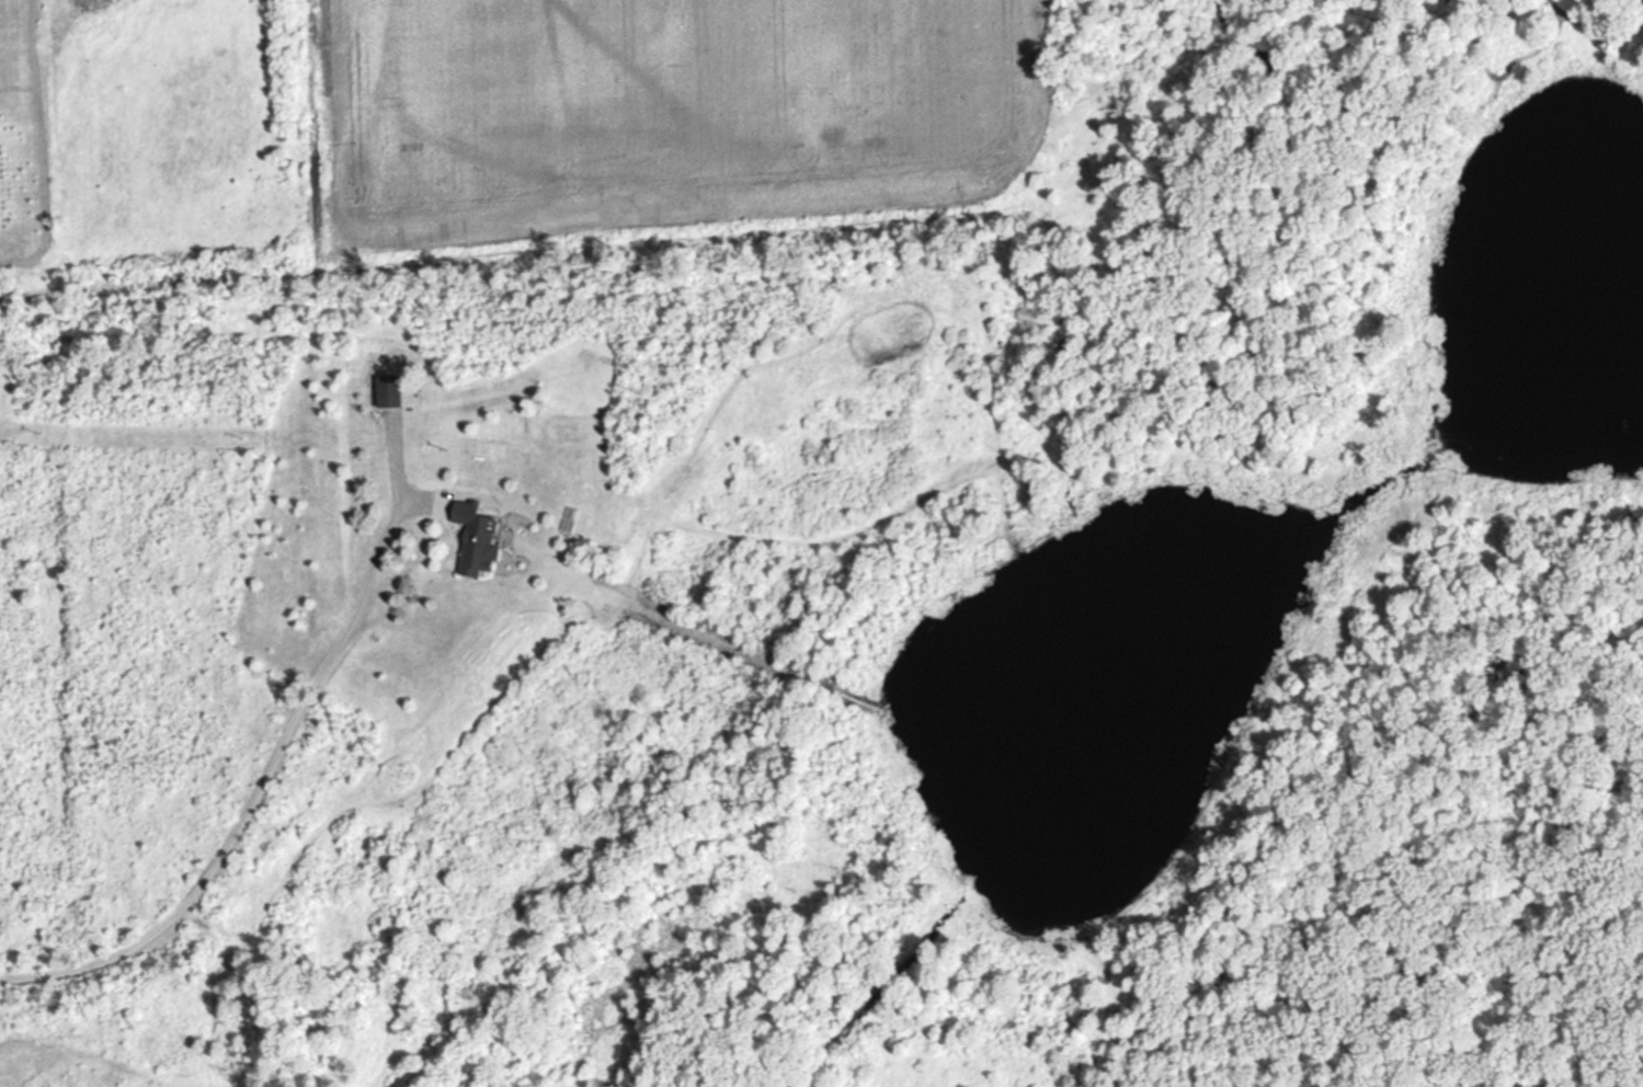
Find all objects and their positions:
building: (387, 390)
building: (473, 537)
road: (250, 786)

